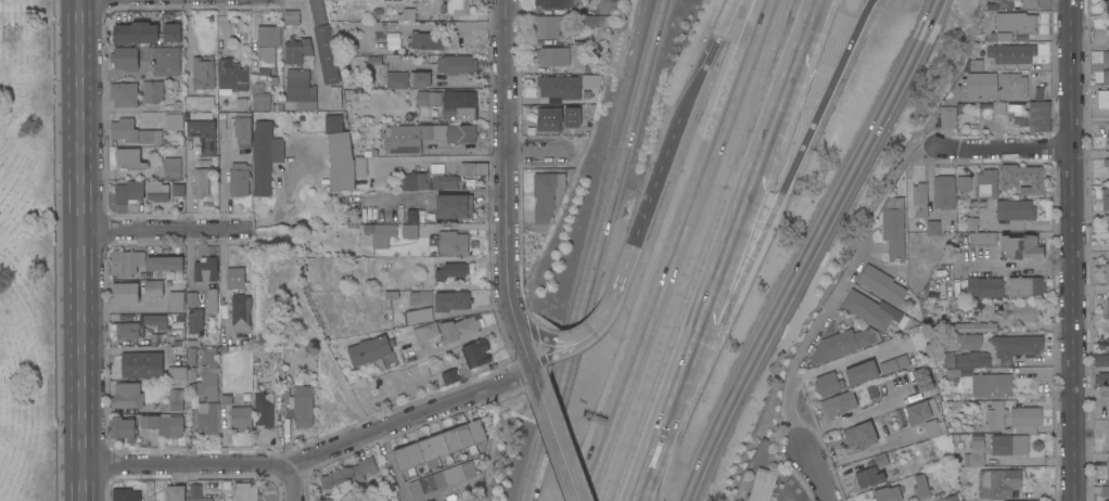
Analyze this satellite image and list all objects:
building: (556, 3)
building: (1027, 3)
building: (458, 7)
building: (608, 7)
building: (1106, 7)
road: (935, 11)
building: (407, 14)
building: (291, 16)
building: (597, 21)
building: (1015, 24)
building: (551, 26)
building: (150, 28)
building: (1108, 38)
building: (426, 40)
building: (323, 42)
building: (267, 47)
building: (298, 52)
building: (1011, 53)
building: (552, 55)
building: (1105, 56)
building: (125, 57)
building: (163, 59)
road: (706, 59)
building: (456, 64)
building: (591, 66)
building: (203, 72)
building: (231, 75)
building: (1105, 76)
building: (420, 78)
building: (397, 79)
building: (591, 81)
building: (992, 86)
building: (560, 87)
building: (152, 90)
building: (301, 90)
building: (124, 94)
building: (335, 97)
building: (420, 97)
building: (1102, 99)
building: (200, 101)
building: (457, 102)
building: (264, 103)
building: (1019, 113)
building: (571, 116)
building: (947, 117)
building: (174, 121)
building: (551, 121)
building: (243, 129)
building: (133, 131)
road: (768, 131)
building: (461, 133)
building: (203, 134)
building: (1108, 137)
building: (403, 140)
road: (1006, 149)
building: (340, 154)
road: (535, 154)
road: (1092, 154)
building: (265, 156)
building: (130, 157)
road: (507, 158)
building: (173, 167)
building: (358, 167)
building: (473, 168)
building: (1108, 171)
building: (1023, 178)
building: (240, 179)
building: (428, 181)
building: (202, 182)
road: (654, 182)
building: (964, 183)
building: (986, 183)
building: (178, 187)
building: (129, 191)
building: (157, 191)
road: (611, 192)
building: (944, 192)
building: (547, 196)
building: (920, 198)
building: (1105, 198)
building: (455, 206)
building: (1016, 209)
building: (1108, 224)
building: (894, 228)
building: (933, 228)
building: (410, 230)
road: (167, 231)
building: (380, 233)
building: (1108, 234)
building: (983, 239)
building: (452, 242)
road: (751, 246)
building: (1022, 246)
road: (82, 249)
road: (1074, 249)
road: (677, 251)
park: (27, 253)
road: (804, 260)
building: (126, 261)
building: (166, 264)
building: (205, 269)
building: (451, 270)
building: (1106, 272)
building: (238, 277)
building: (881, 284)
building: (981, 286)
building: (1025, 286)
road: (616, 287)
building: (154, 288)
building: (931, 291)
building: (125, 292)
building: (420, 297)
building: (192, 298)
building: (213, 300)
building: (452, 300)
building: (177, 301)
building: (1108, 303)
building: (870, 309)
building: (1020, 311)
building: (419, 316)
building: (161, 320)
building: (196, 321)
building: (238, 322)
building: (974, 326)
building: (459, 329)
building: (129, 330)
building: (426, 331)
road: (535, 331)
road: (578, 335)
building: (969, 341)
road: (523, 342)
road: (577, 344)
building: (840, 345)
building: (1017, 346)
road: (125, 349)
building: (370, 350)
building: (477, 354)
building: (191, 356)
road: (540, 357)
building: (973, 359)
building: (1100, 360)
building: (142, 364)
road: (795, 365)
building: (889, 365)
building: (862, 372)
building: (177, 373)
building: (209, 375)
building: (450, 376)
road: (677, 377)
building: (921, 378)
building: (1101, 378)
road: (537, 380)
building: (896, 381)
building: (985, 382)
building: (828, 384)
building: (870, 390)
building: (127, 396)
building: (177, 397)
building: (840, 402)
building: (296, 403)
road: (1042, 403)
building: (960, 404)
building: (1108, 407)
building: (264, 409)
building: (920, 411)
building: (866, 412)
building: (208, 416)
building: (241, 418)
building: (1014, 418)
building: (165, 424)
building: (124, 428)
building: (932, 428)
building: (862, 435)
road: (546, 442)
building: (1010, 445)
building: (442, 446)
road: (561, 447)
road: (866, 450)
building: (976, 451)
road: (315, 455)
building: (881, 459)
road: (392, 466)
building: (1107, 472)
building: (348, 474)
building: (869, 476)
building: (443, 477)
building: (998, 483)
road: (294, 484)
building: (963, 484)
building: (763, 485)
building: (921, 487)
building: (176, 492)
building: (246, 492)
road: (447, 493)
building: (888, 493)
building: (125, 494)
road: (629, 497)
building: (951, 498)
building: (202, 499)
building: (337, 499)
building: (146, 500)

